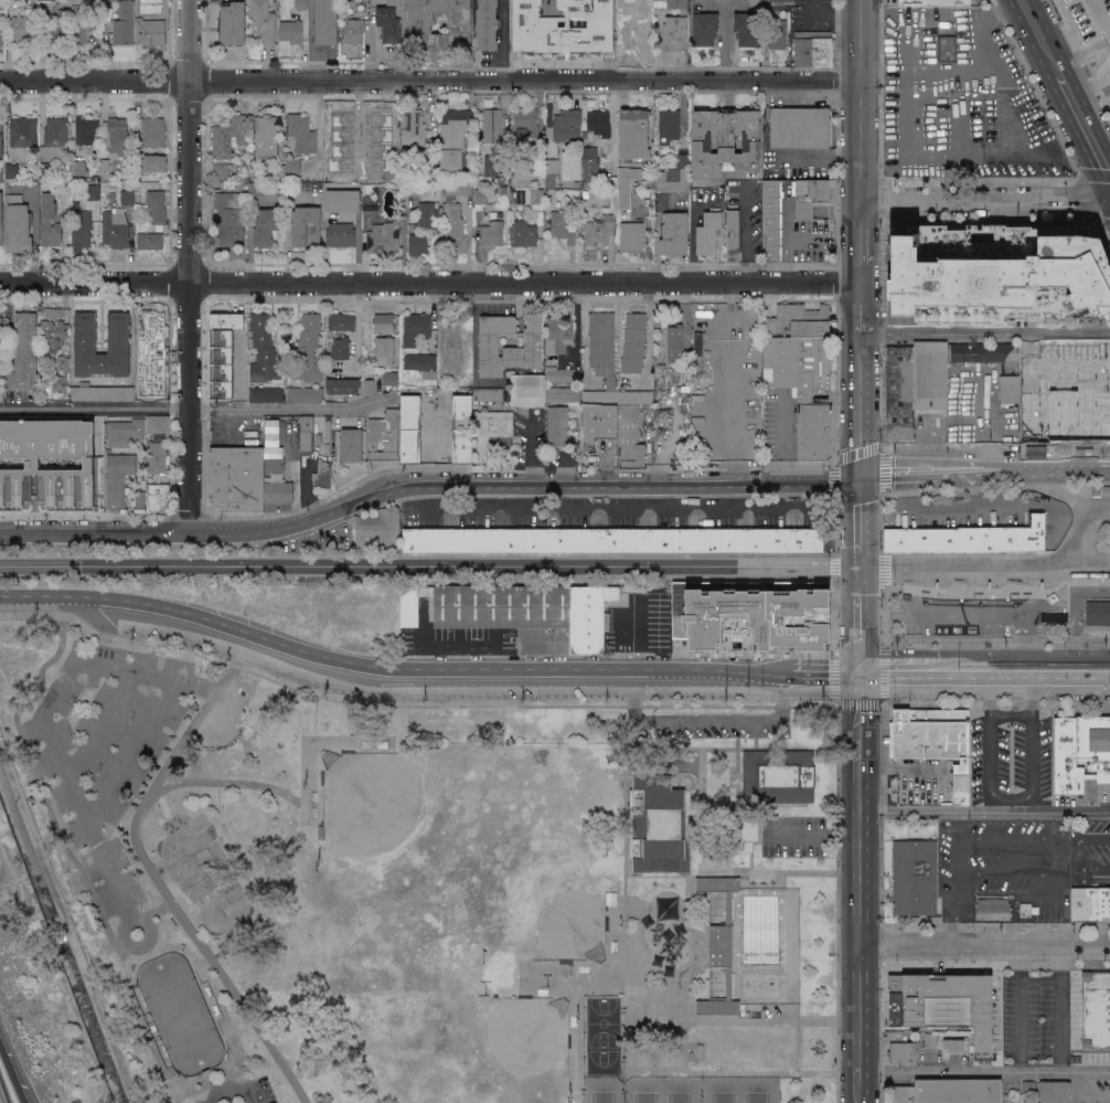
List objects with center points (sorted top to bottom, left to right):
building: (12, 0)
building: (46, 0)
building: (107, 2)
building: (789, 2)
building: (935, 2)
building: (275, 4)
building: (301, 4)
building: (756, 4)
building: (637, 8)
road: (993, 15)
building: (547, 19)
building: (84, 20)
building: (263, 20)
building: (325, 21)
building: (594, 21)
building: (389, 22)
building: (124, 23)
building: (231, 23)
building: (487, 24)
building: (531, 24)
building: (24, 26)
building: (675, 26)
building: (57, 28)
building: (419, 28)
building: (704, 28)
building: (747, 28)
building: (566, 29)
building: (150, 31)
building: (291, 31)
building: (352, 31)
building: (778, 34)
building: (0, 35)
building: (625, 36)
road: (1037, 38)
road: (658, 43)
building: (813, 49)
building: (947, 49)
road: (503, 53)
road: (1080, 57)
road: (428, 78)
road: (1031, 87)
road: (856, 100)
building: (526, 120)
building: (598, 124)
building: (492, 125)
building: (567, 125)
building: (669, 125)
building: (799, 128)
road: (1084, 128)
building: (85, 130)
building: (412, 130)
building: (23, 131)
building: (152, 132)
building: (301, 134)
building: (633, 134)
building: (115, 135)
building: (375, 135)
building: (227, 136)
building: (265, 136)
building: (429, 136)
building: (1, 139)
building: (452, 139)
building: (54, 140)
building: (725, 141)
building: (337, 153)
building: (589, 156)
building: (514, 161)
building: (683, 161)
building: (152, 162)
building: (292, 165)
building: (490, 166)
building: (552, 166)
building: (393, 167)
building: (77, 168)
building: (104, 169)
building: (222, 170)
building: (250, 170)
building: (280, 170)
building: (12, 171)
building: (353, 171)
building: (1, 172)
building: (606, 173)
building: (96, 178)
building: (673, 179)
building: (479, 182)
building: (587, 182)
building: (612, 183)
building: (626, 184)
building: (113, 185)
building: (217, 187)
road: (1080, 187)
building: (413, 188)
building: (259, 189)
building: (457, 190)
building: (503, 190)
building: (93, 192)
building: (585, 194)
building: (809, 195)
building: (127, 197)
building: (370, 197)
building: (534, 198)
building: (480, 199)
road: (983, 200)
building: (342, 201)
building: (74, 205)
building: (156, 206)
building: (137, 210)
building: (425, 214)
building: (1, 219)
building: (228, 219)
building: (50, 221)
building: (770, 221)
road: (883, 224)
building: (18, 225)
building: (562, 225)
building: (265, 227)
building: (305, 227)
building: (115, 229)
building: (453, 229)
building: (599, 230)
road: (833, 230)
building: (81, 231)
road: (744, 231)
building: (708, 232)
building: (491, 233)
building: (523, 233)
building: (673, 233)
building: (340, 234)
building: (732, 235)
building: (383, 237)
building: (631, 237)
building: (149, 241)
road: (691, 242)
building: (417, 244)
road: (190, 266)
road: (857, 266)
building: (996, 275)
road: (428, 280)
building: (1, 319)
building: (799, 320)
building: (341, 321)
building: (383, 324)
building: (415, 328)
road: (983, 331)
building: (53, 333)
building: (85, 333)
building: (1, 335)
building: (558, 335)
building: (232, 339)
building: (149, 341)
building: (488, 341)
building: (633, 342)
road: (476, 346)
building: (675, 346)
building: (340, 348)
building: (263, 350)
building: (307, 350)
building: (383, 351)
building: (24, 353)
building: (601, 357)
building: (237, 361)
building: (60, 364)
building: (421, 364)
building: (562, 374)
building: (388, 378)
building: (937, 378)
building: (57, 385)
building: (342, 386)
building: (369, 386)
building: (149, 390)
building: (800, 390)
building: (527, 391)
building: (102, 392)
building: (221, 392)
building: (266, 394)
building: (303, 394)
building: (487, 394)
building: (634, 397)
road: (189, 405)
road: (857, 405)
building: (562, 414)
road: (981, 414)
building: (598, 423)
building: (158, 424)
building: (410, 429)
building: (461, 429)
building: (124, 432)
building: (306, 432)
building: (493, 433)
building: (383, 436)
building: (629, 436)
building: (159, 437)
building: (351, 445)
road: (994, 448)
building: (327, 449)
road: (856, 454)
road: (981, 455)
building: (157, 457)
building: (49, 462)
building: (274, 465)
road: (1045, 468)
road: (880, 470)
road: (919, 473)
building: (322, 475)
building: (117, 477)
building: (237, 478)
traffic signals: (857, 480)
road: (833, 484)
road: (425, 486)
road: (995, 486)
building: (277, 490)
road: (1099, 491)
building: (156, 495)
building: (139, 498)
road: (84, 512)
road: (188, 512)
road: (856, 517)
road: (880, 522)
building: (377, 528)
road: (835, 530)
building: (968, 537)
building: (612, 540)
road: (856, 559)
road: (835, 564)
traffic signals: (856, 565)
road: (883, 571)
road: (856, 581)
road: (997, 592)
building: (675, 606)
road: (1001, 611)
building: (520, 613)
building: (756, 613)
building: (1098, 613)
road: (836, 614)
road: (883, 615)
building: (1054, 617)
road: (856, 633)
road: (995, 640)
road: (392, 668)
road: (939, 669)
road: (1066, 669)
road: (824, 670)
traffic signals: (856, 670)
road: (54, 697)
road: (864, 702)
road: (995, 702)
road: (410, 706)
road: (706, 721)
road: (97, 723)
building: (933, 742)
parking lot: (105, 750)
road: (132, 751)
building: (1081, 753)
parking lot: (1010, 761)
building: (778, 776)
road: (856, 778)
road: (225, 782)
road: (41, 788)
road: (1011, 798)
road: (161, 803)
park: (373, 809)
road: (983, 812)
building: (658, 826)
building: (745, 834)
road: (1008, 837)
road: (957, 842)
road: (1077, 847)
park: (204, 873)
road: (1025, 873)
building: (914, 878)
park: (430, 887)
road: (166, 897)
road: (836, 902)
building: (1090, 904)
road: (952, 908)
building: (993, 909)
road: (154, 910)
building: (1025, 910)
road: (156, 915)
road: (856, 915)
road: (142, 920)
park: (564, 921)
road: (884, 925)
road: (983, 944)
building: (718, 947)
road: (203, 961)
road: (926, 962)
building: (907, 986)
road: (220, 1006)
road: (1018, 1007)
road: (1060, 1007)
building: (1096, 1009)
building: (959, 1010)
park: (178, 1012)
road: (856, 1024)
road: (143, 1031)
park: (602, 1035)
building: (896, 1035)
park: (520, 1039)
building: (930, 1041)
building: (953, 1046)
building: (903, 1053)
road: (983, 1070)
road: (734, 1072)
road: (12, 1073)
building: (1028, 1088)
park: (718, 1089)
road: (1089, 1089)
park: (602, 1090)
park: (641, 1090)
park: (680, 1090)
park: (758, 1090)
road: (201, 1091)
building: (949, 1091)
building: (1054, 1092)
parking lot: (243, 1093)
road: (224, 1095)
road: (248, 1095)
road: (173, 1102)
building: (1026, 1102)

